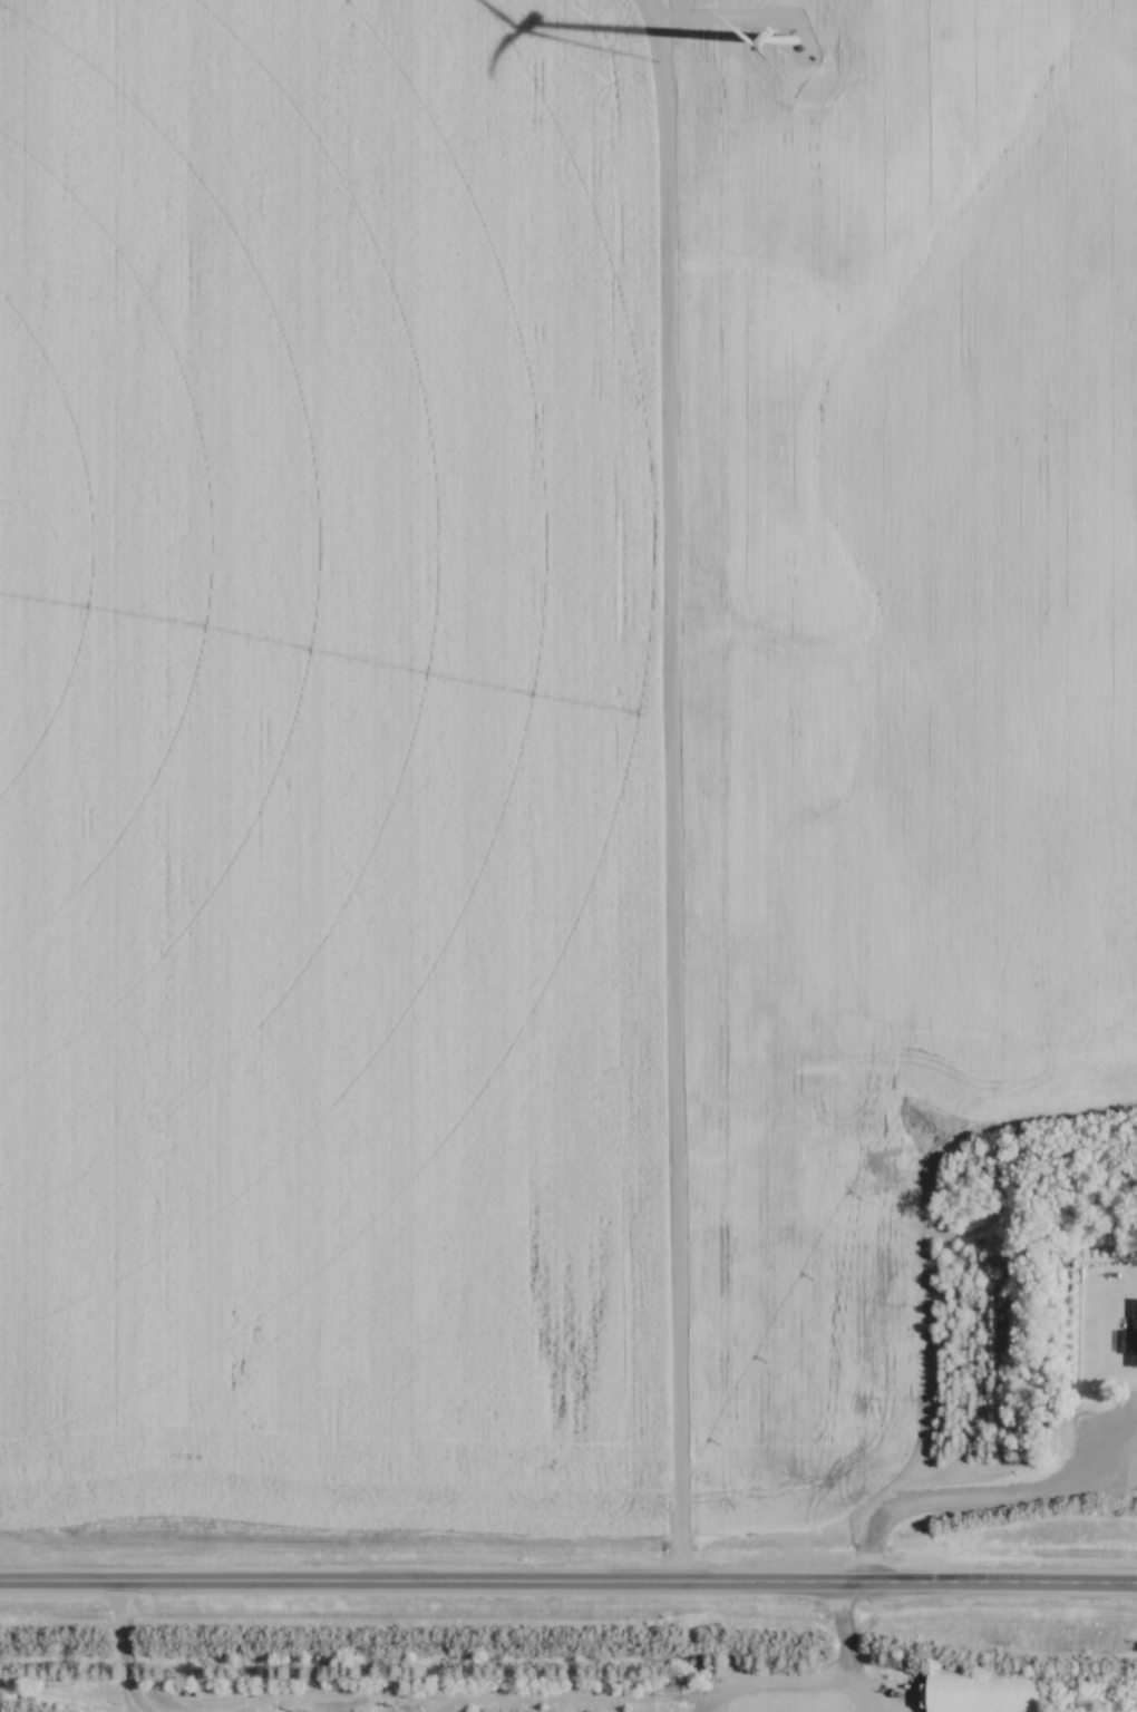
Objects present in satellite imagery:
wind turbine: (793, 39)
road: (669, 795)
building: (1136, 1339)
road: (978, 1506)
road: (568, 1591)
road: (843, 1651)
road: (118, 1655)
building: (985, 1693)
road: (537, 1702)
road: (863, 1710)
road: (864, 1710)

